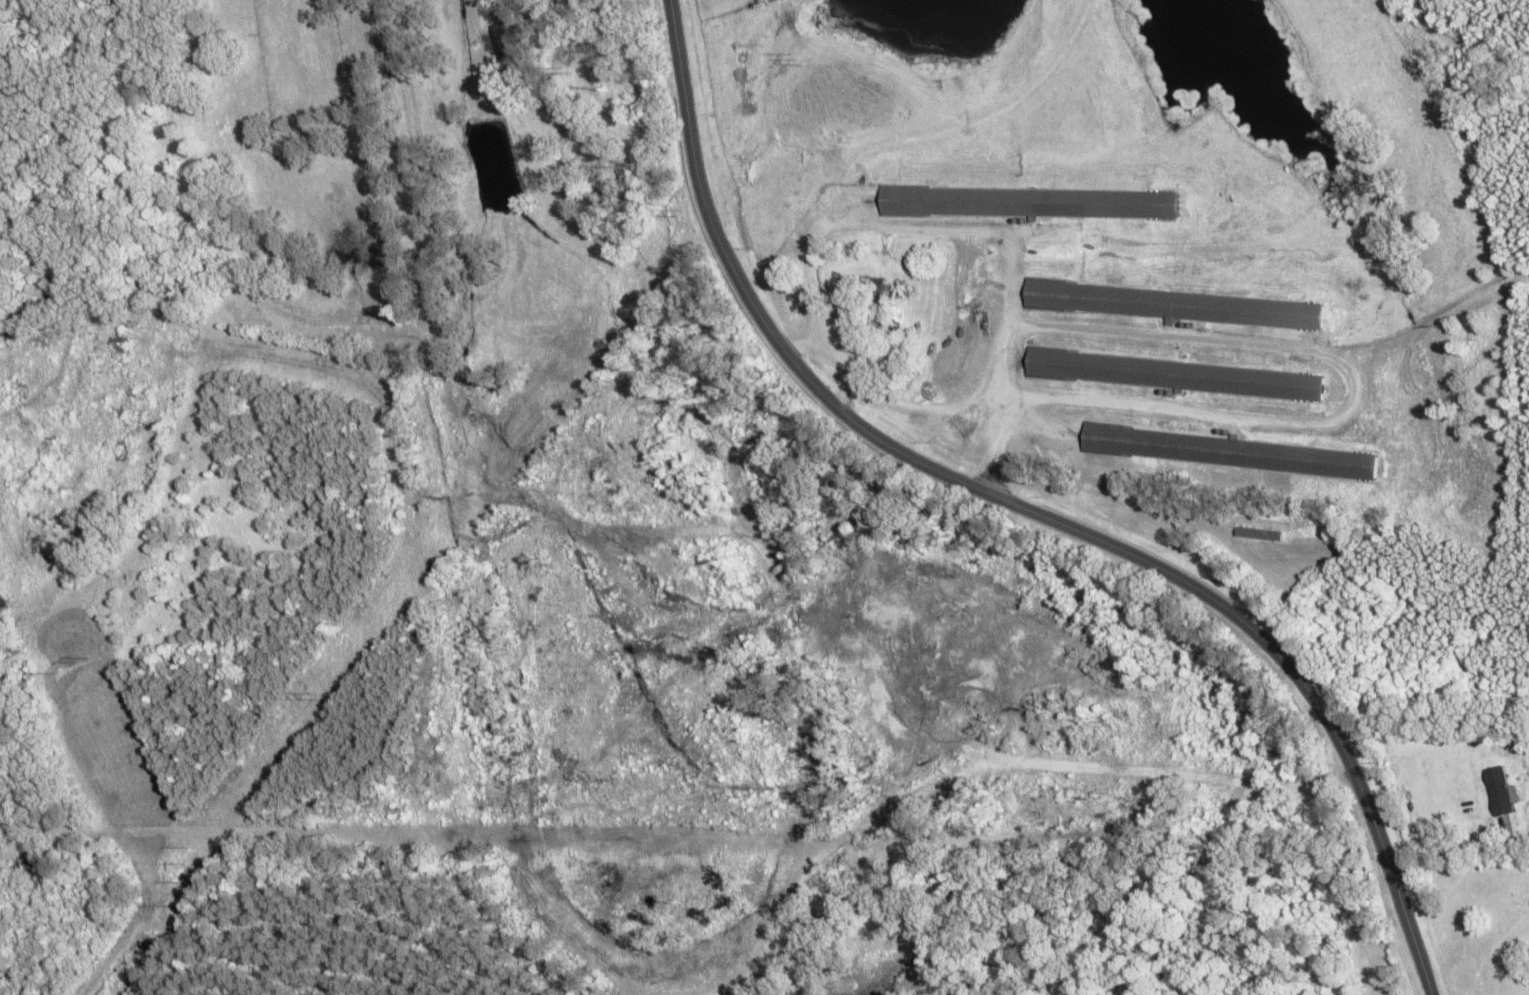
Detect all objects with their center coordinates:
building: (506, 42)
power tower: (816, 54)
power tower: (683, 215)
building: (1229, 454)
road: (1025, 510)
power tower: (77, 665)
power tower: (331, 692)
building: (1501, 793)
power tower: (180, 866)

